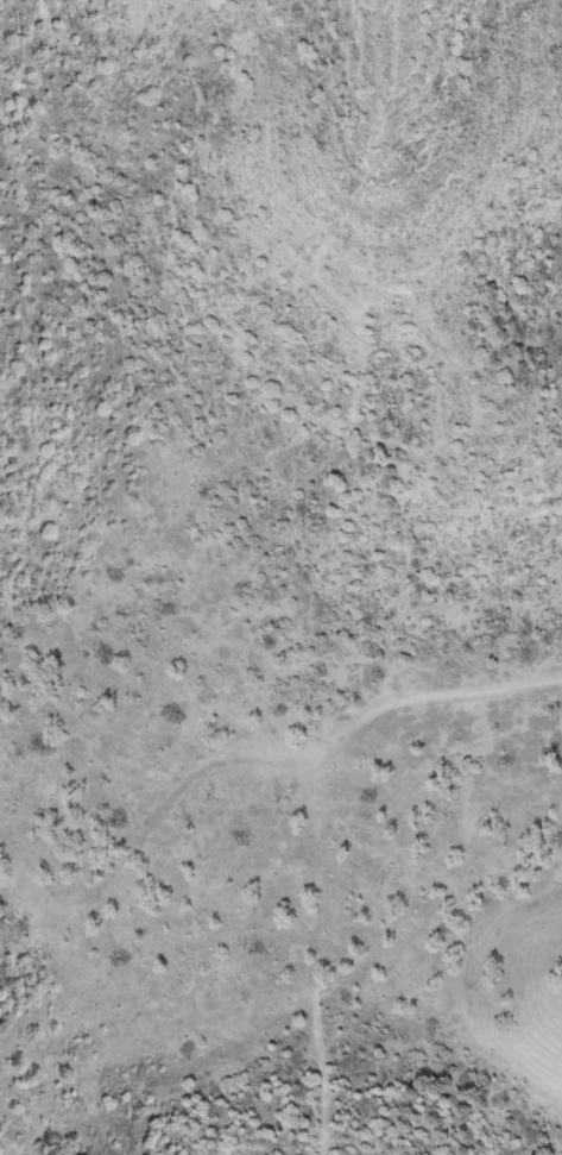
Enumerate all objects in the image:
road: (539, 698)

